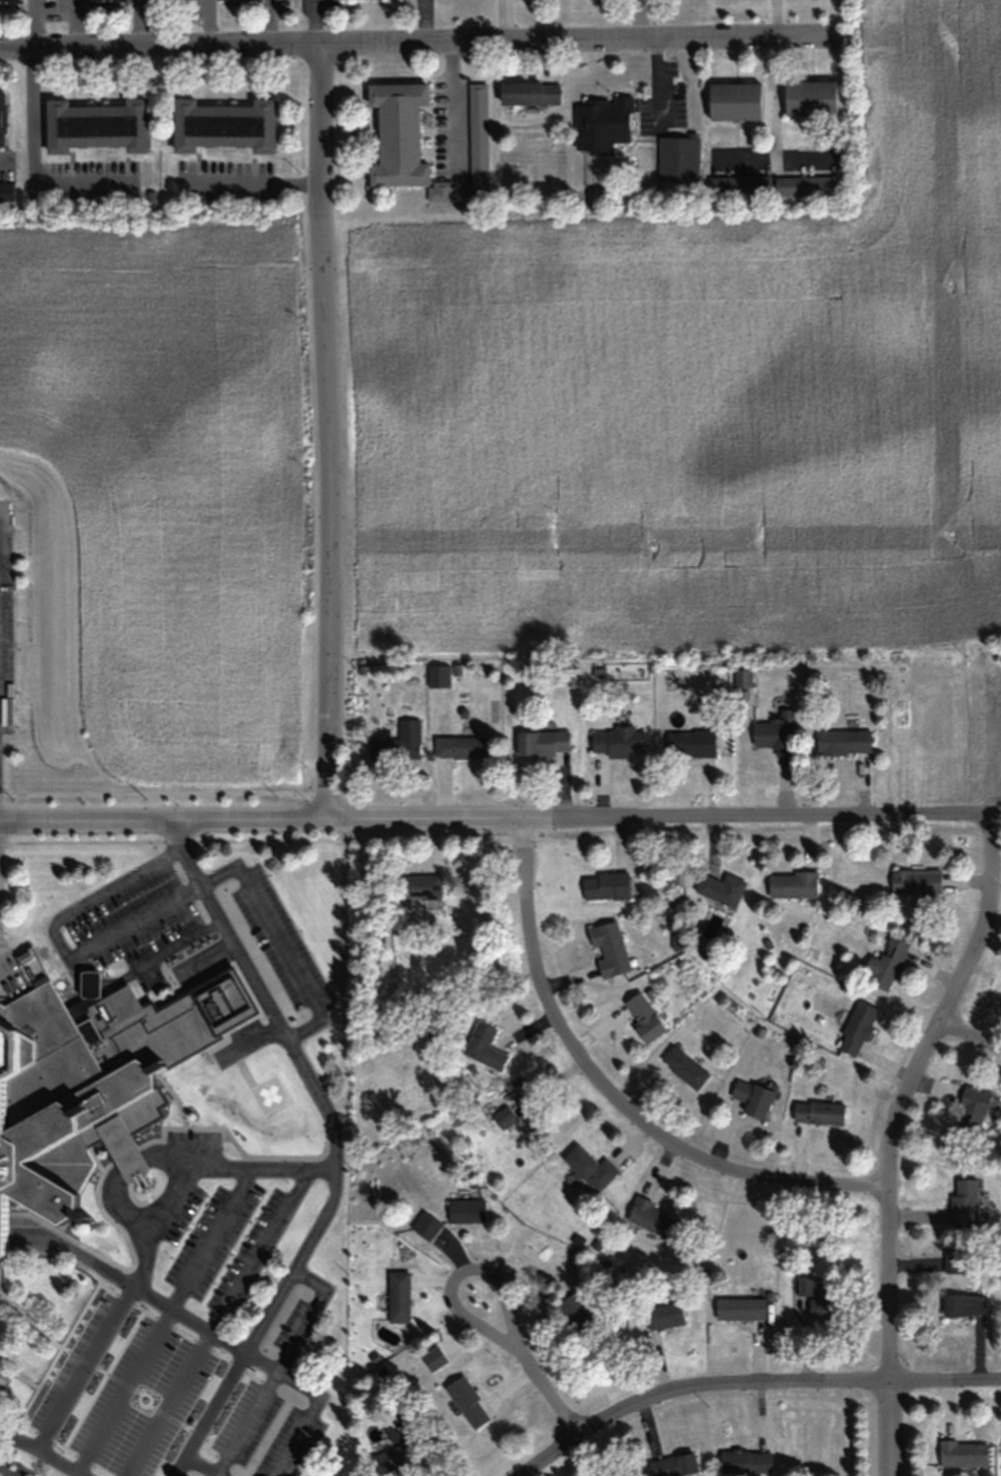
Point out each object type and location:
building: (106, 0)
building: (9, 1)
road: (595, 45)
road: (159, 49)
building: (530, 93)
building: (810, 97)
building: (734, 101)
building: (2, 118)
building: (97, 124)
building: (223, 124)
building: (601, 124)
building: (401, 138)
building: (478, 142)
building: (678, 158)
building: (738, 184)
building: (805, 184)
building: (6, 192)
road: (323, 433)
building: (742, 679)
building: (775, 733)
building: (843, 741)
building: (619, 742)
building: (542, 743)
building: (690, 743)
building: (462, 747)
building: (393, 749)
road: (251, 819)
road: (88, 820)
road: (663, 823)
road: (254, 839)
building: (916, 881)
building: (792, 884)
building: (605, 885)
building: (418, 886)
building: (721, 888)
parking lot: (136, 920)
parking lot: (278, 939)
road: (278, 940)
road: (58, 943)
building: (608, 949)
building: (885, 964)
road: (142, 965)
road: (260, 991)
building: (644, 1018)
building: (857, 1029)
road: (968, 1043)
building: (484, 1047)
building: (684, 1067)
building: (92, 1080)
road: (904, 1093)
helipad: (269, 1094)
building: (750, 1099)
road: (612, 1100)
building: (818, 1112)
building: (971, 1113)
building: (503, 1116)
building: (537, 1122)
road: (290, 1166)
building: (590, 1167)
road: (119, 1172)
road: (165, 1198)
building: (964, 1202)
building: (467, 1209)
building: (650, 1217)
road: (320, 1220)
road: (66, 1245)
building: (954, 1259)
building: (805, 1285)
building: (399, 1296)
building: (964, 1305)
building: (741, 1308)
building: (824, 1308)
road: (270, 1311)
building: (663, 1316)
building: (576, 1317)
road: (162, 1319)
road: (218, 1321)
road: (98, 1327)
parking lot: (189, 1327)
road: (530, 1363)
road: (270, 1381)
road: (747, 1387)
road: (315, 1399)
road: (216, 1402)
building: (468, 1402)
building: (398, 1426)
road: (889, 1429)
road: (16, 1435)
building: (963, 1452)
building: (390, 1458)
building: (746, 1460)
road: (178, 1464)
building: (674, 1464)
road: (219, 1474)
building: (616, 1475)

